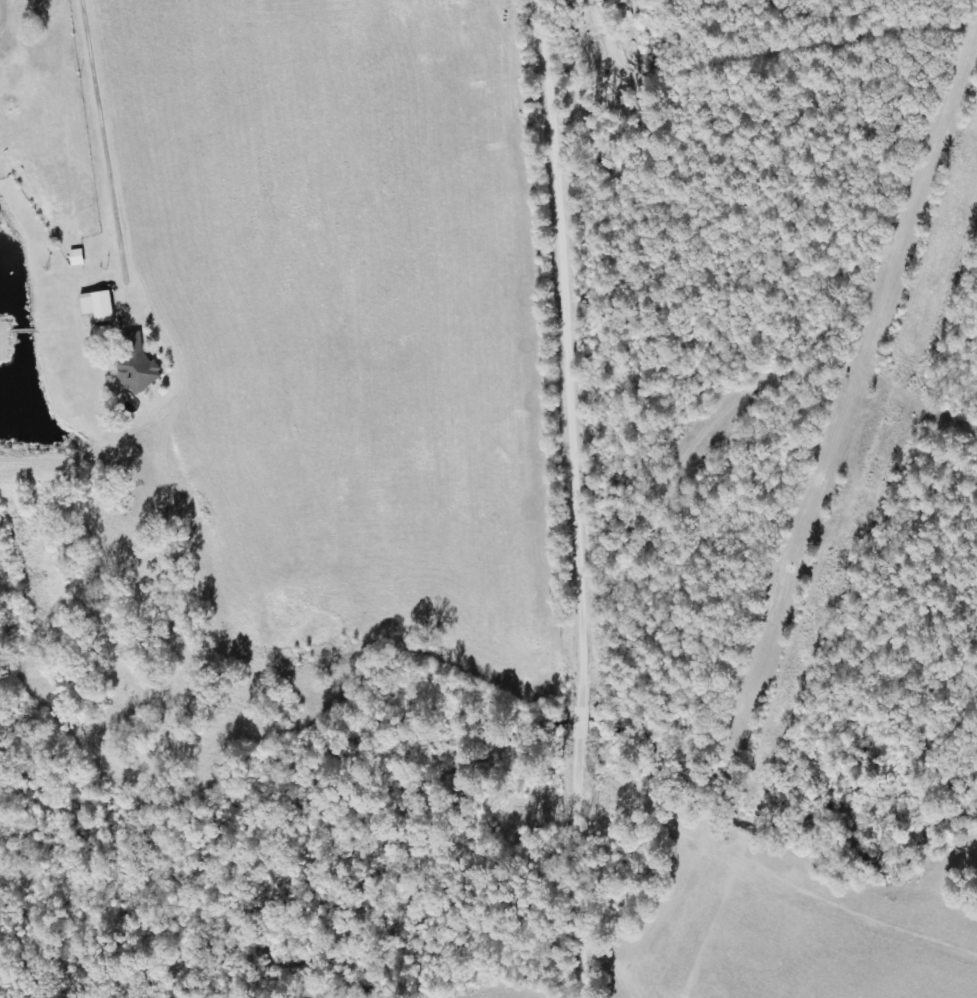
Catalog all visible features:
building: (78, 257)
building: (99, 307)
building: (137, 363)
road: (564, 498)

